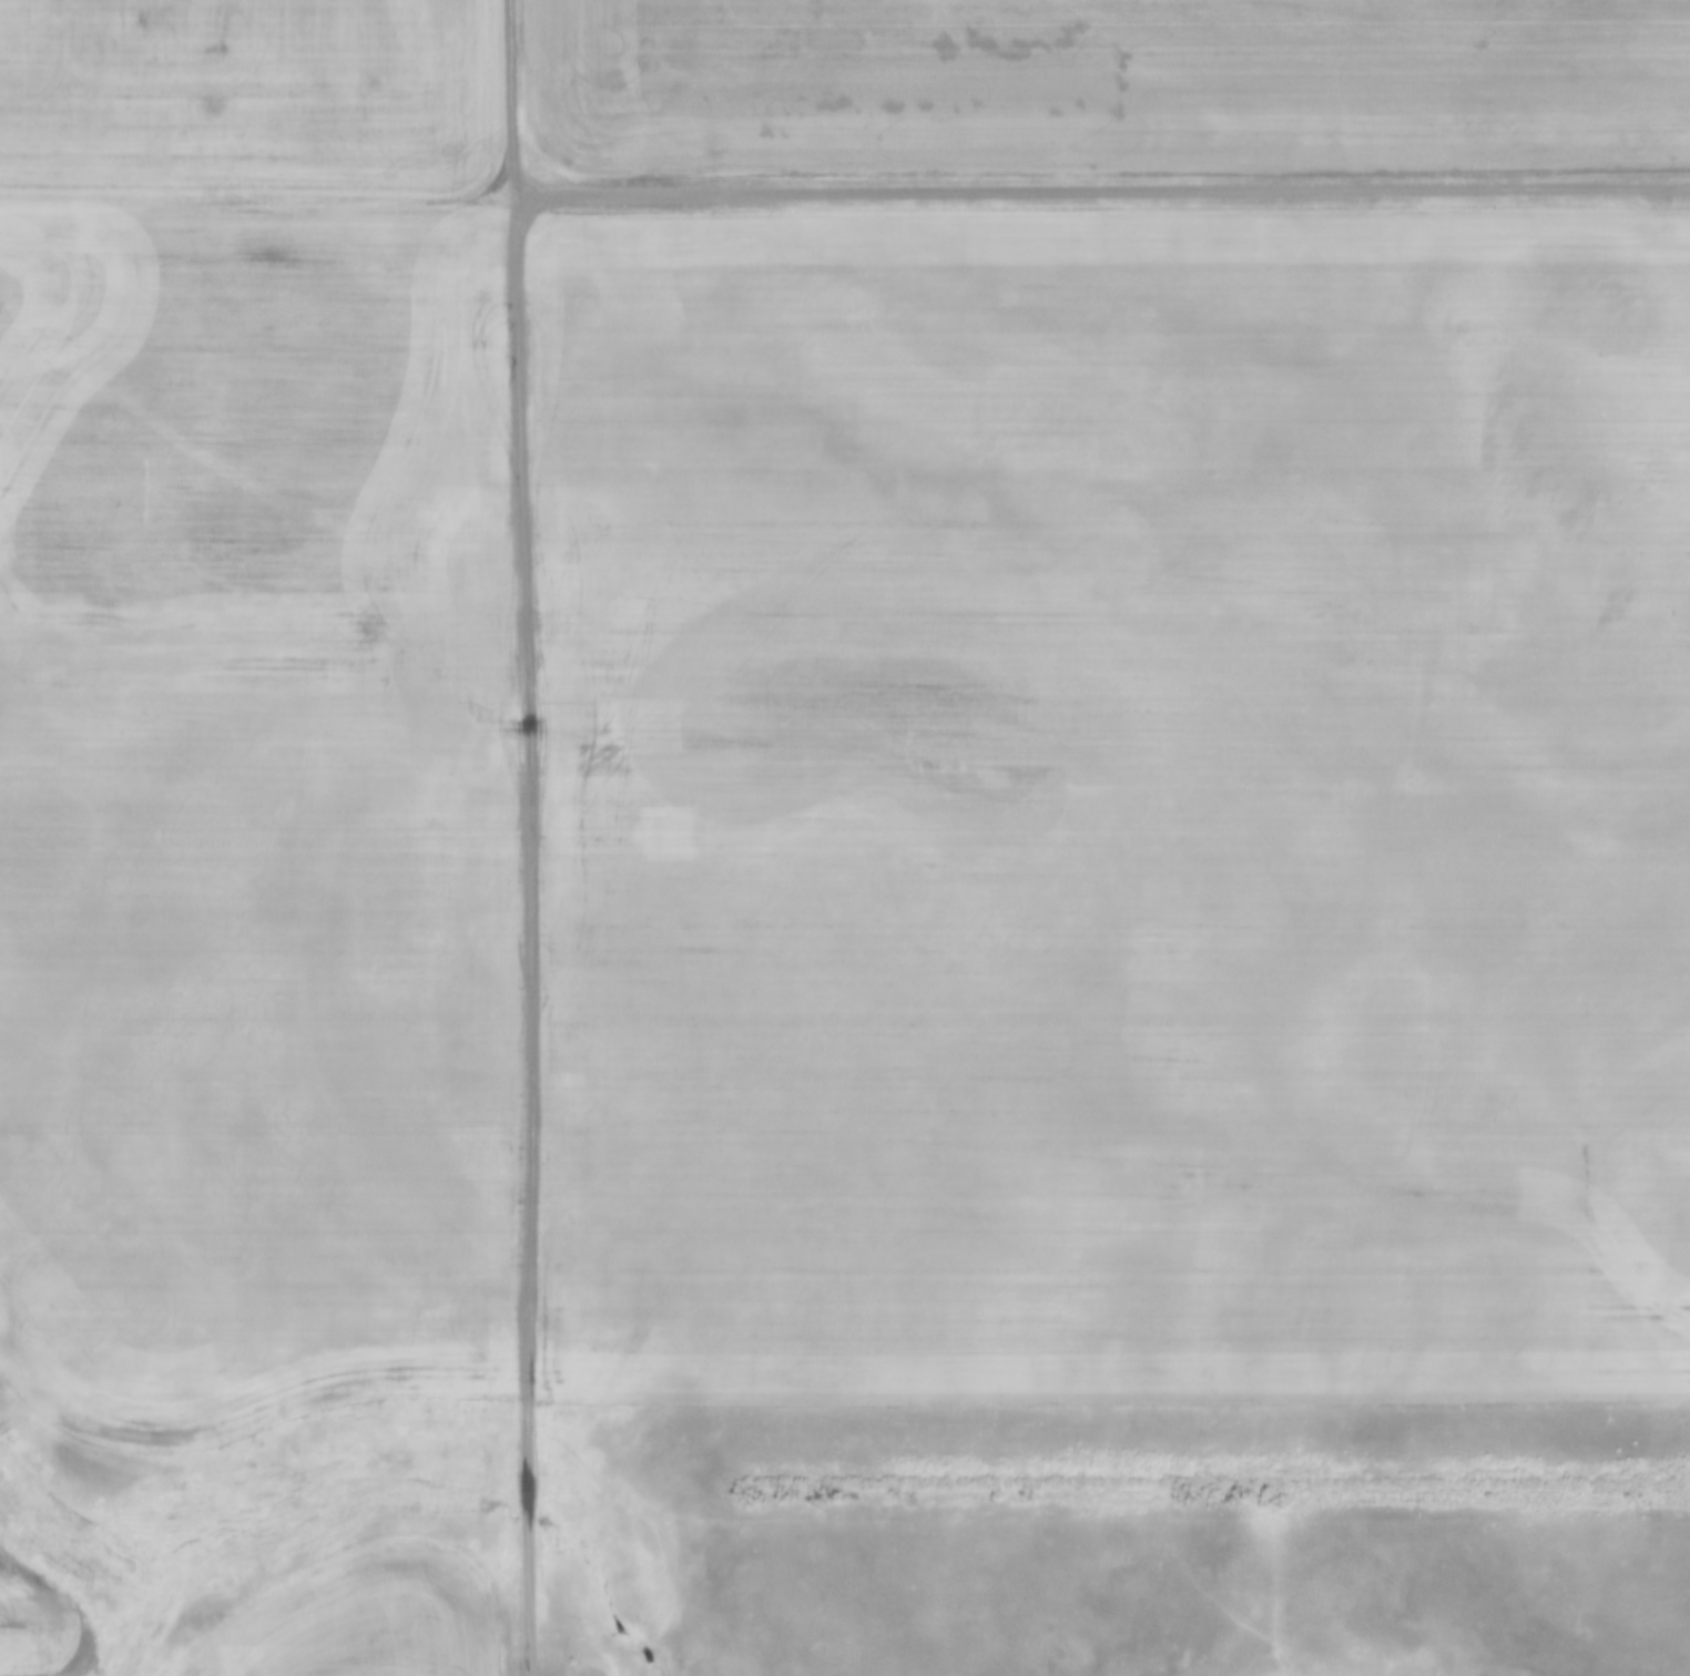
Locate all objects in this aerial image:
road: (844, 195)
road: (528, 837)

